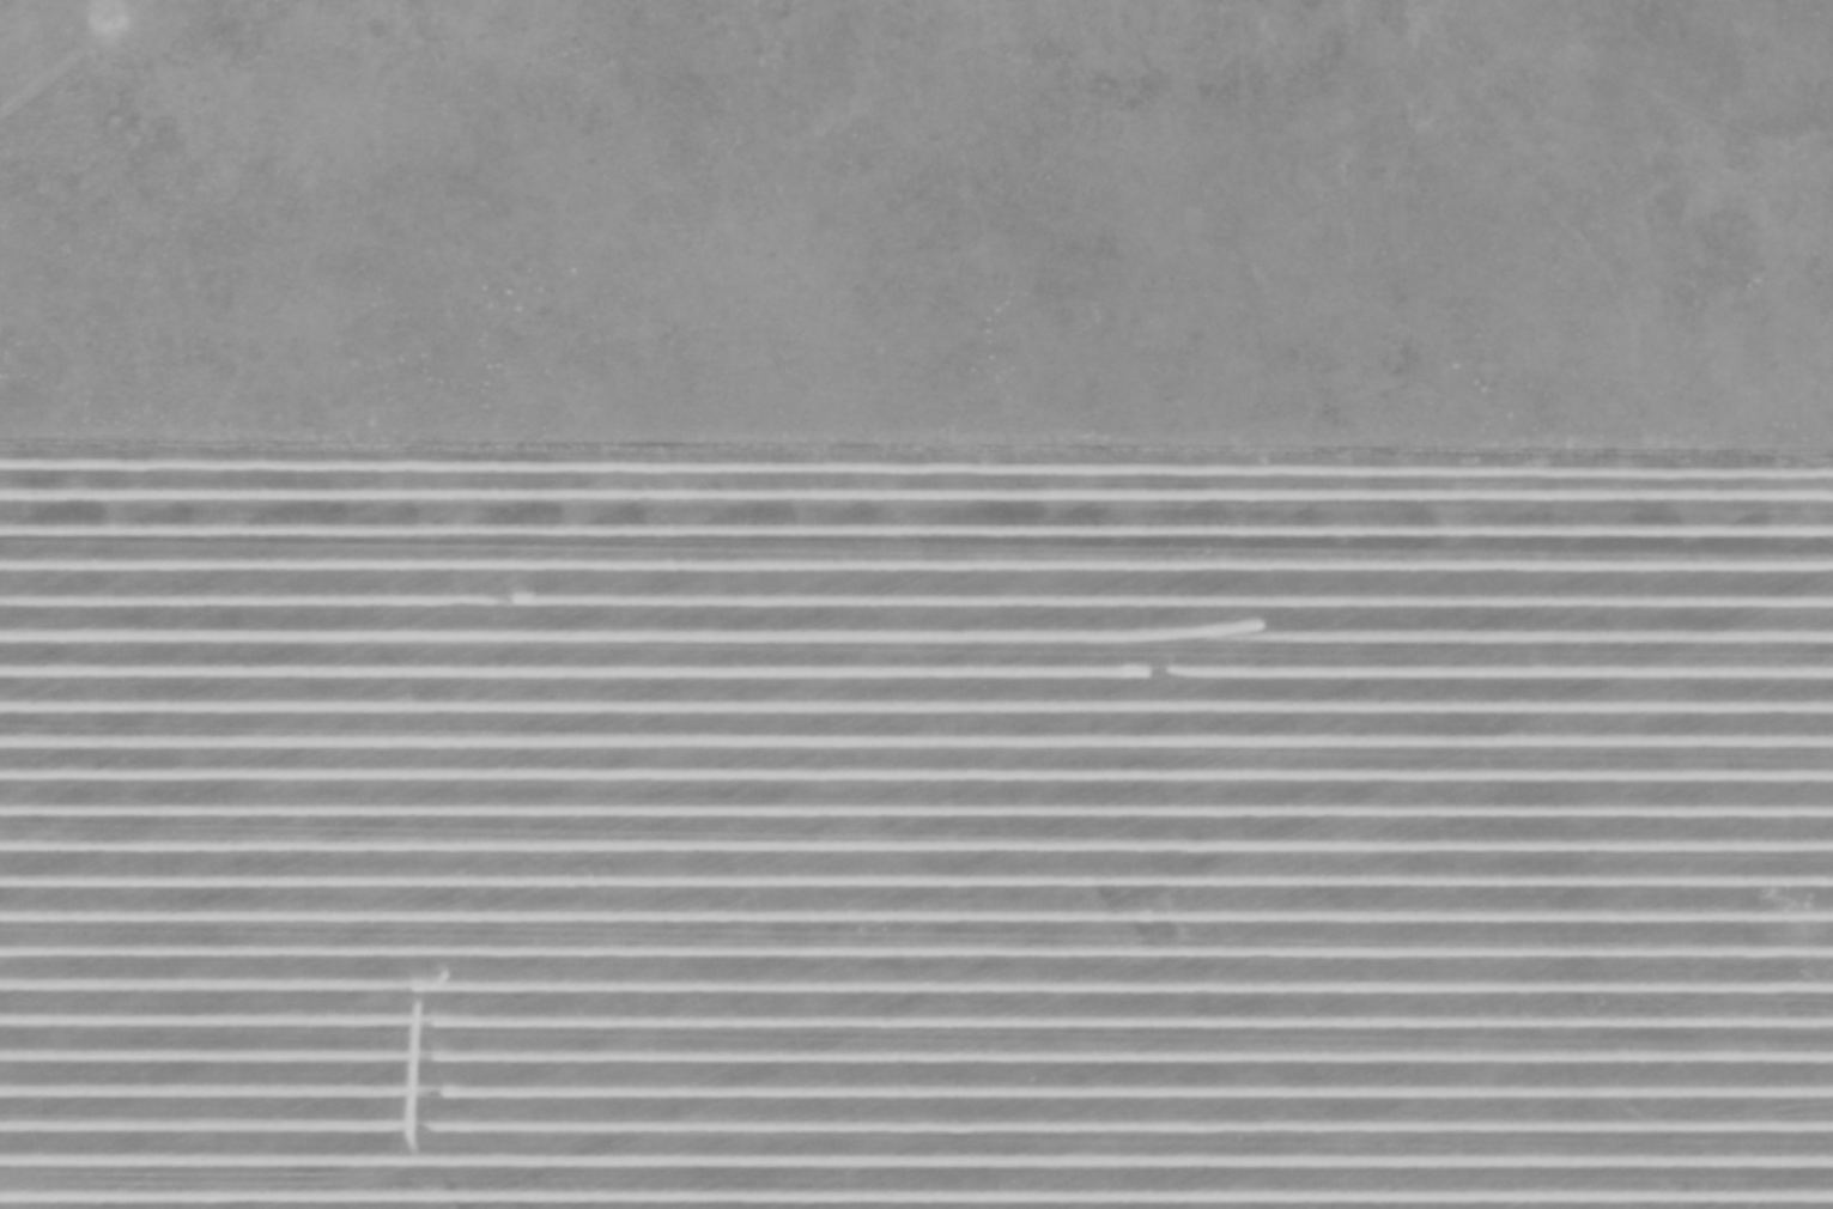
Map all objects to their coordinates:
crop: (914, 832)

